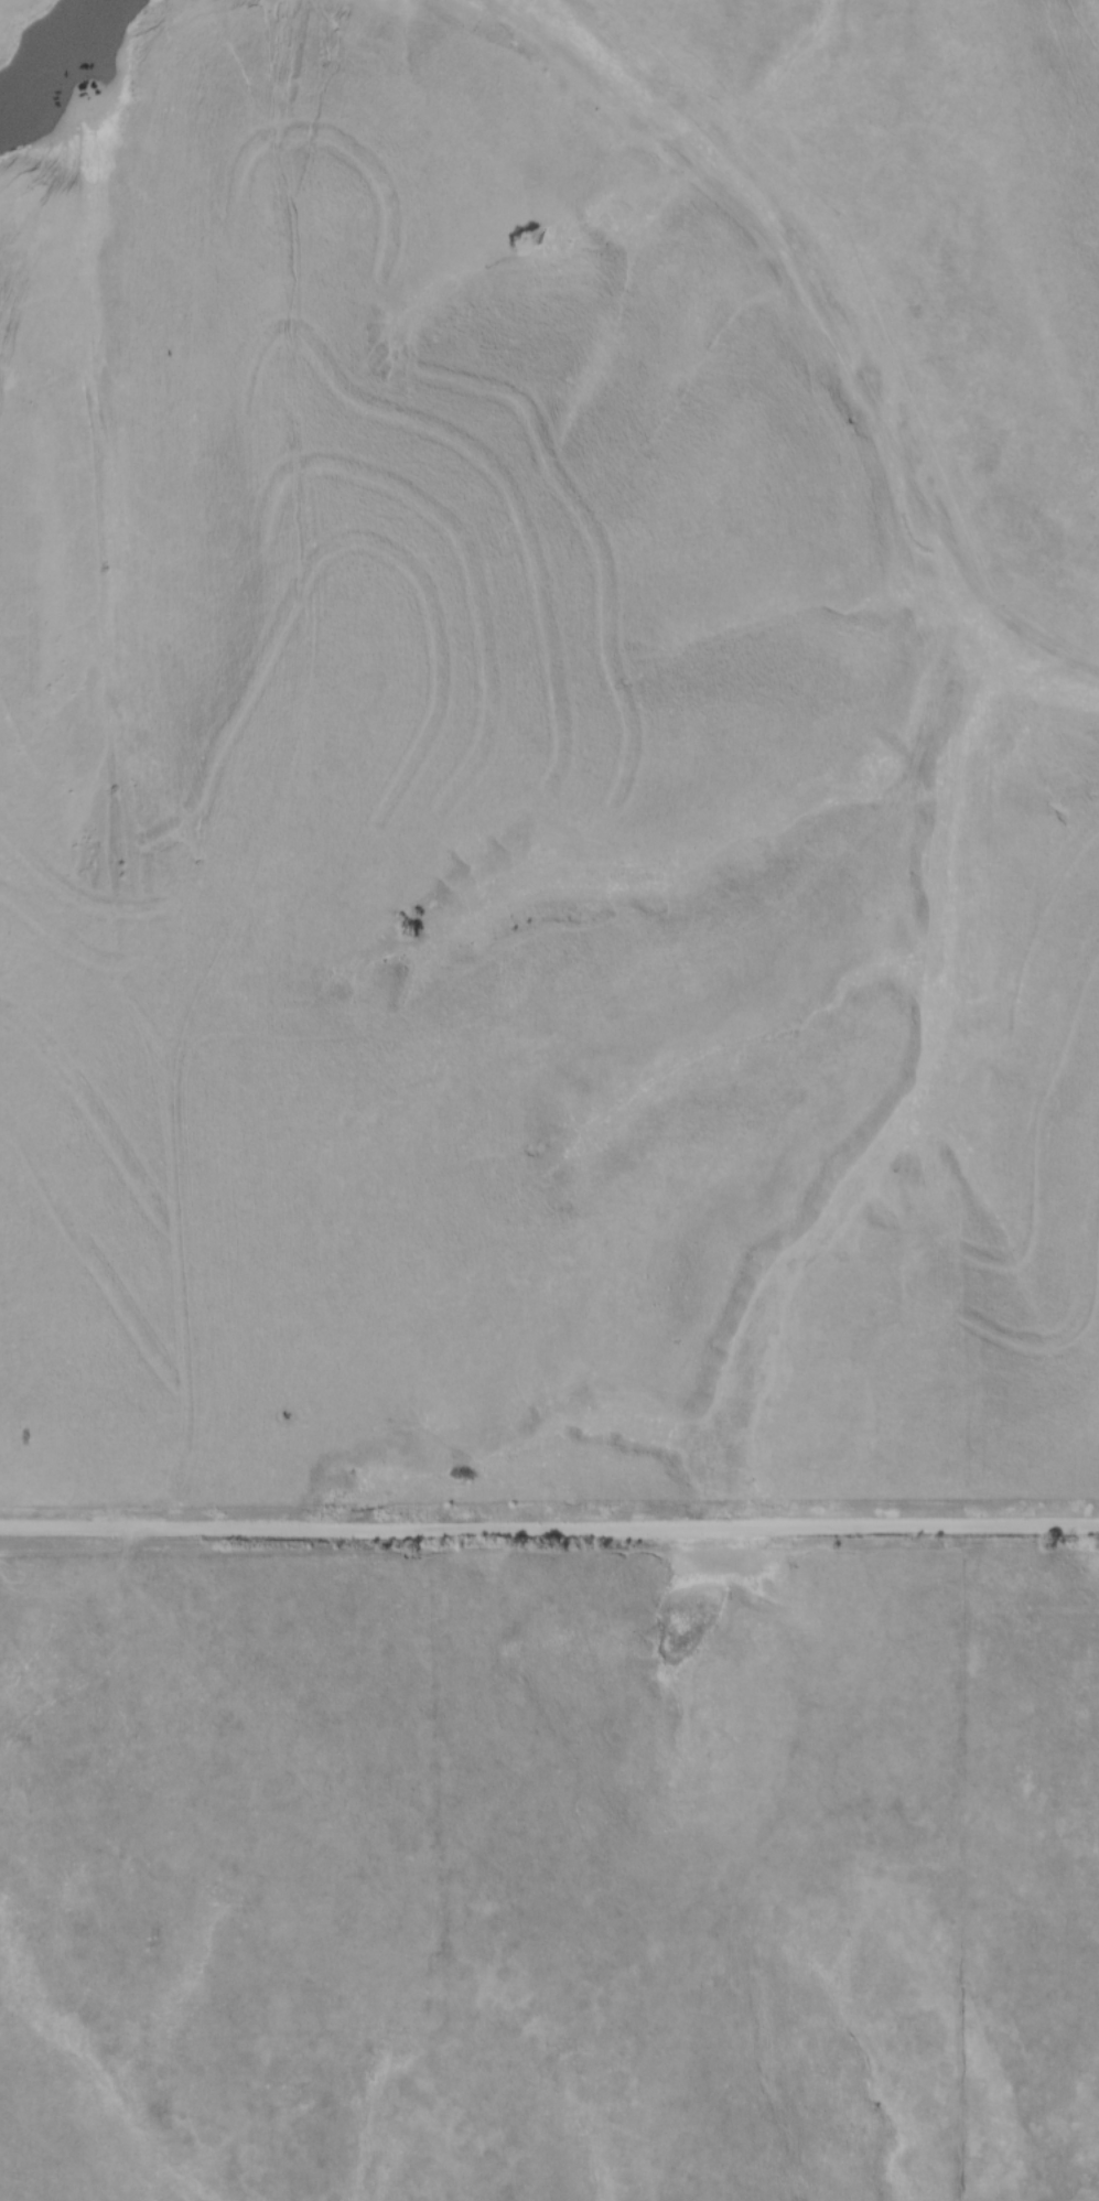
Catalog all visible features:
road: (549, 1529)

